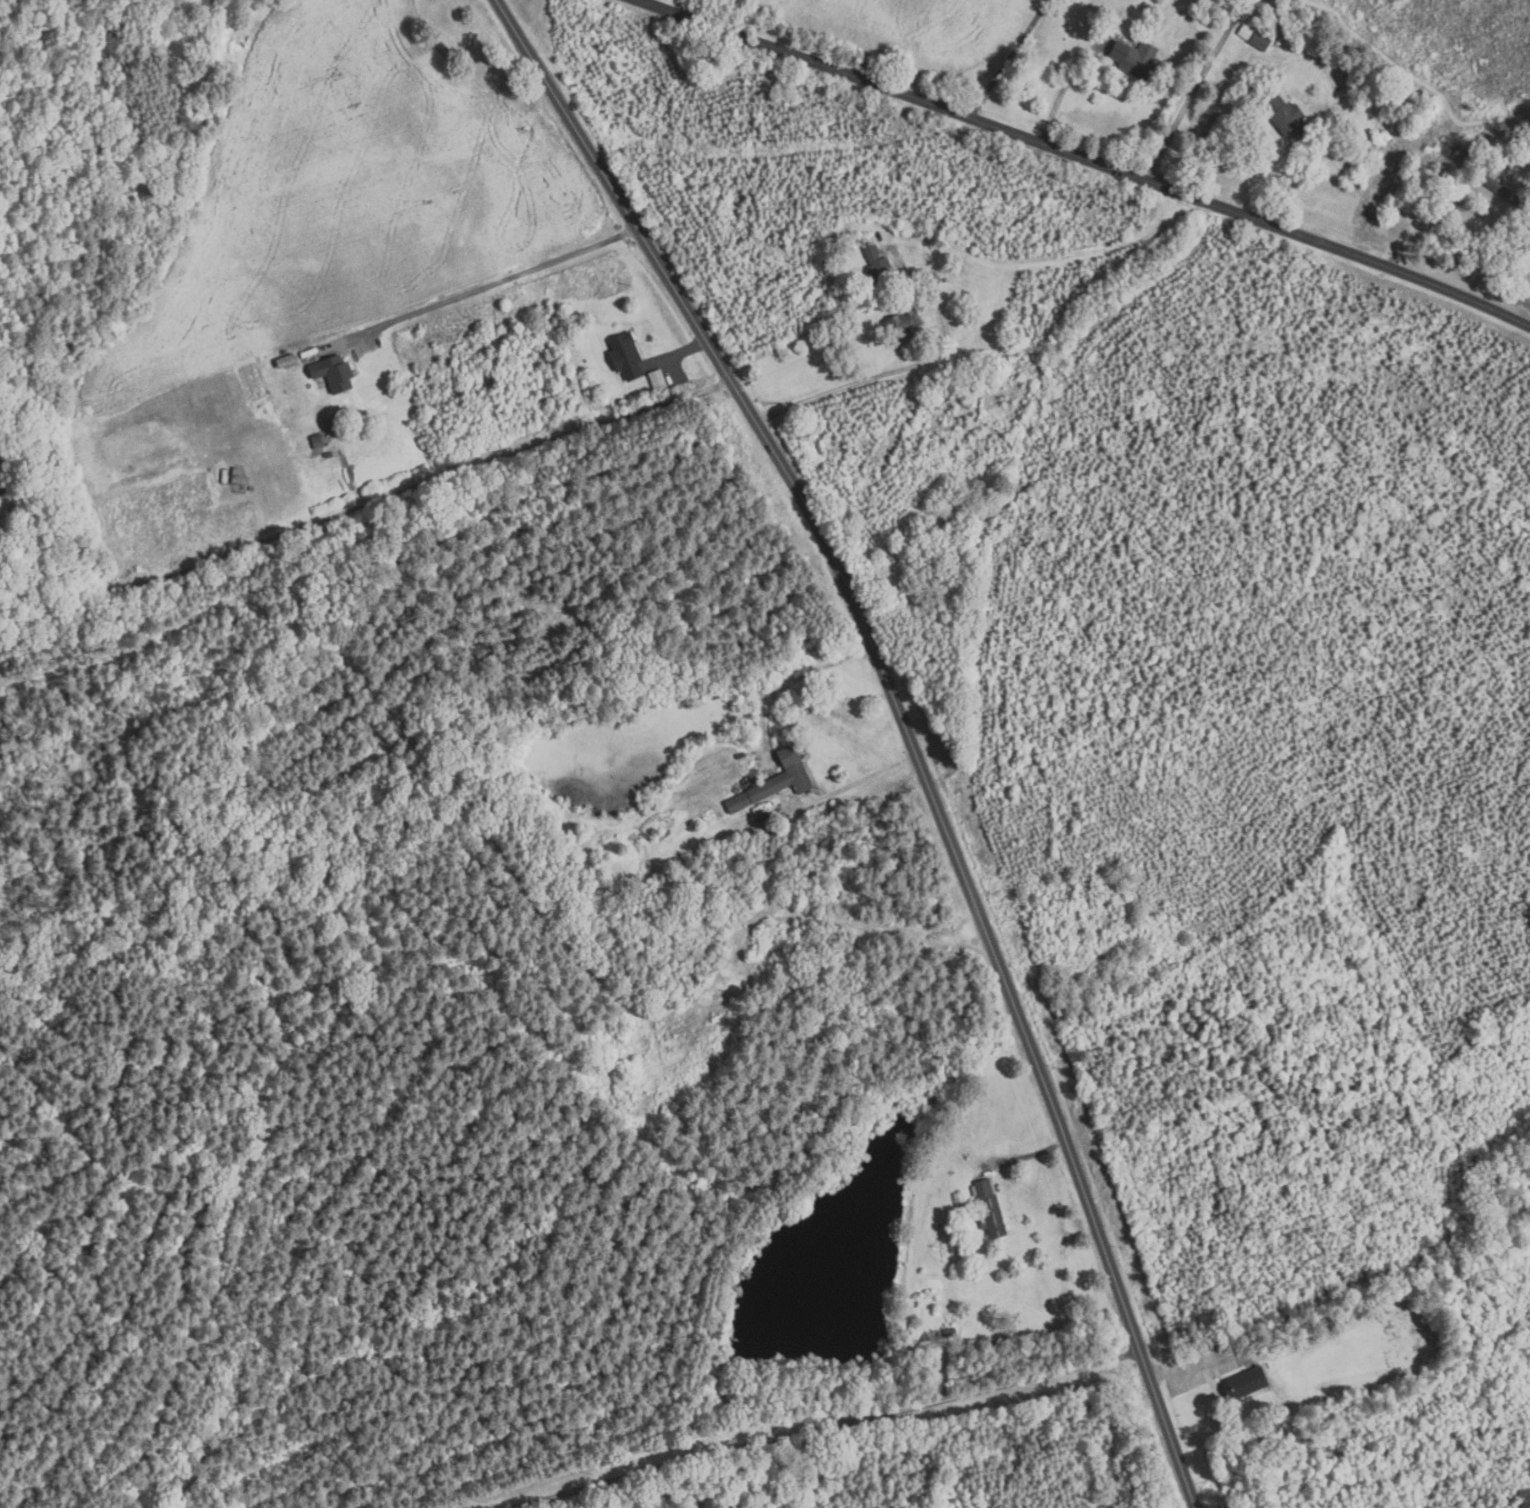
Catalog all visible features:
building: (1247, 33)
building: (1262, 41)
road: (1009, 59)
building: (1139, 59)
road: (1070, 85)
road: (1195, 90)
building: (1289, 118)
road: (1086, 158)
building: (1503, 192)
building: (1466, 194)
building: (868, 240)
building: (880, 265)
road: (500, 280)
building: (947, 280)
building: (902, 325)
road: (800, 342)
building: (628, 357)
building: (288, 361)
building: (336, 373)
building: (659, 380)
road: (845, 387)
building: (319, 441)
building: (329, 454)
building: (241, 477)
road: (365, 508)
road: (41, 568)
road: (906, 725)
road: (862, 781)
building: (777, 783)
building: (768, 820)
building: (993, 1211)
river: (845, 1248)
building: (952, 1332)
park: (1402, 1336)
building: (1243, 1383)
road: (825, 1427)

